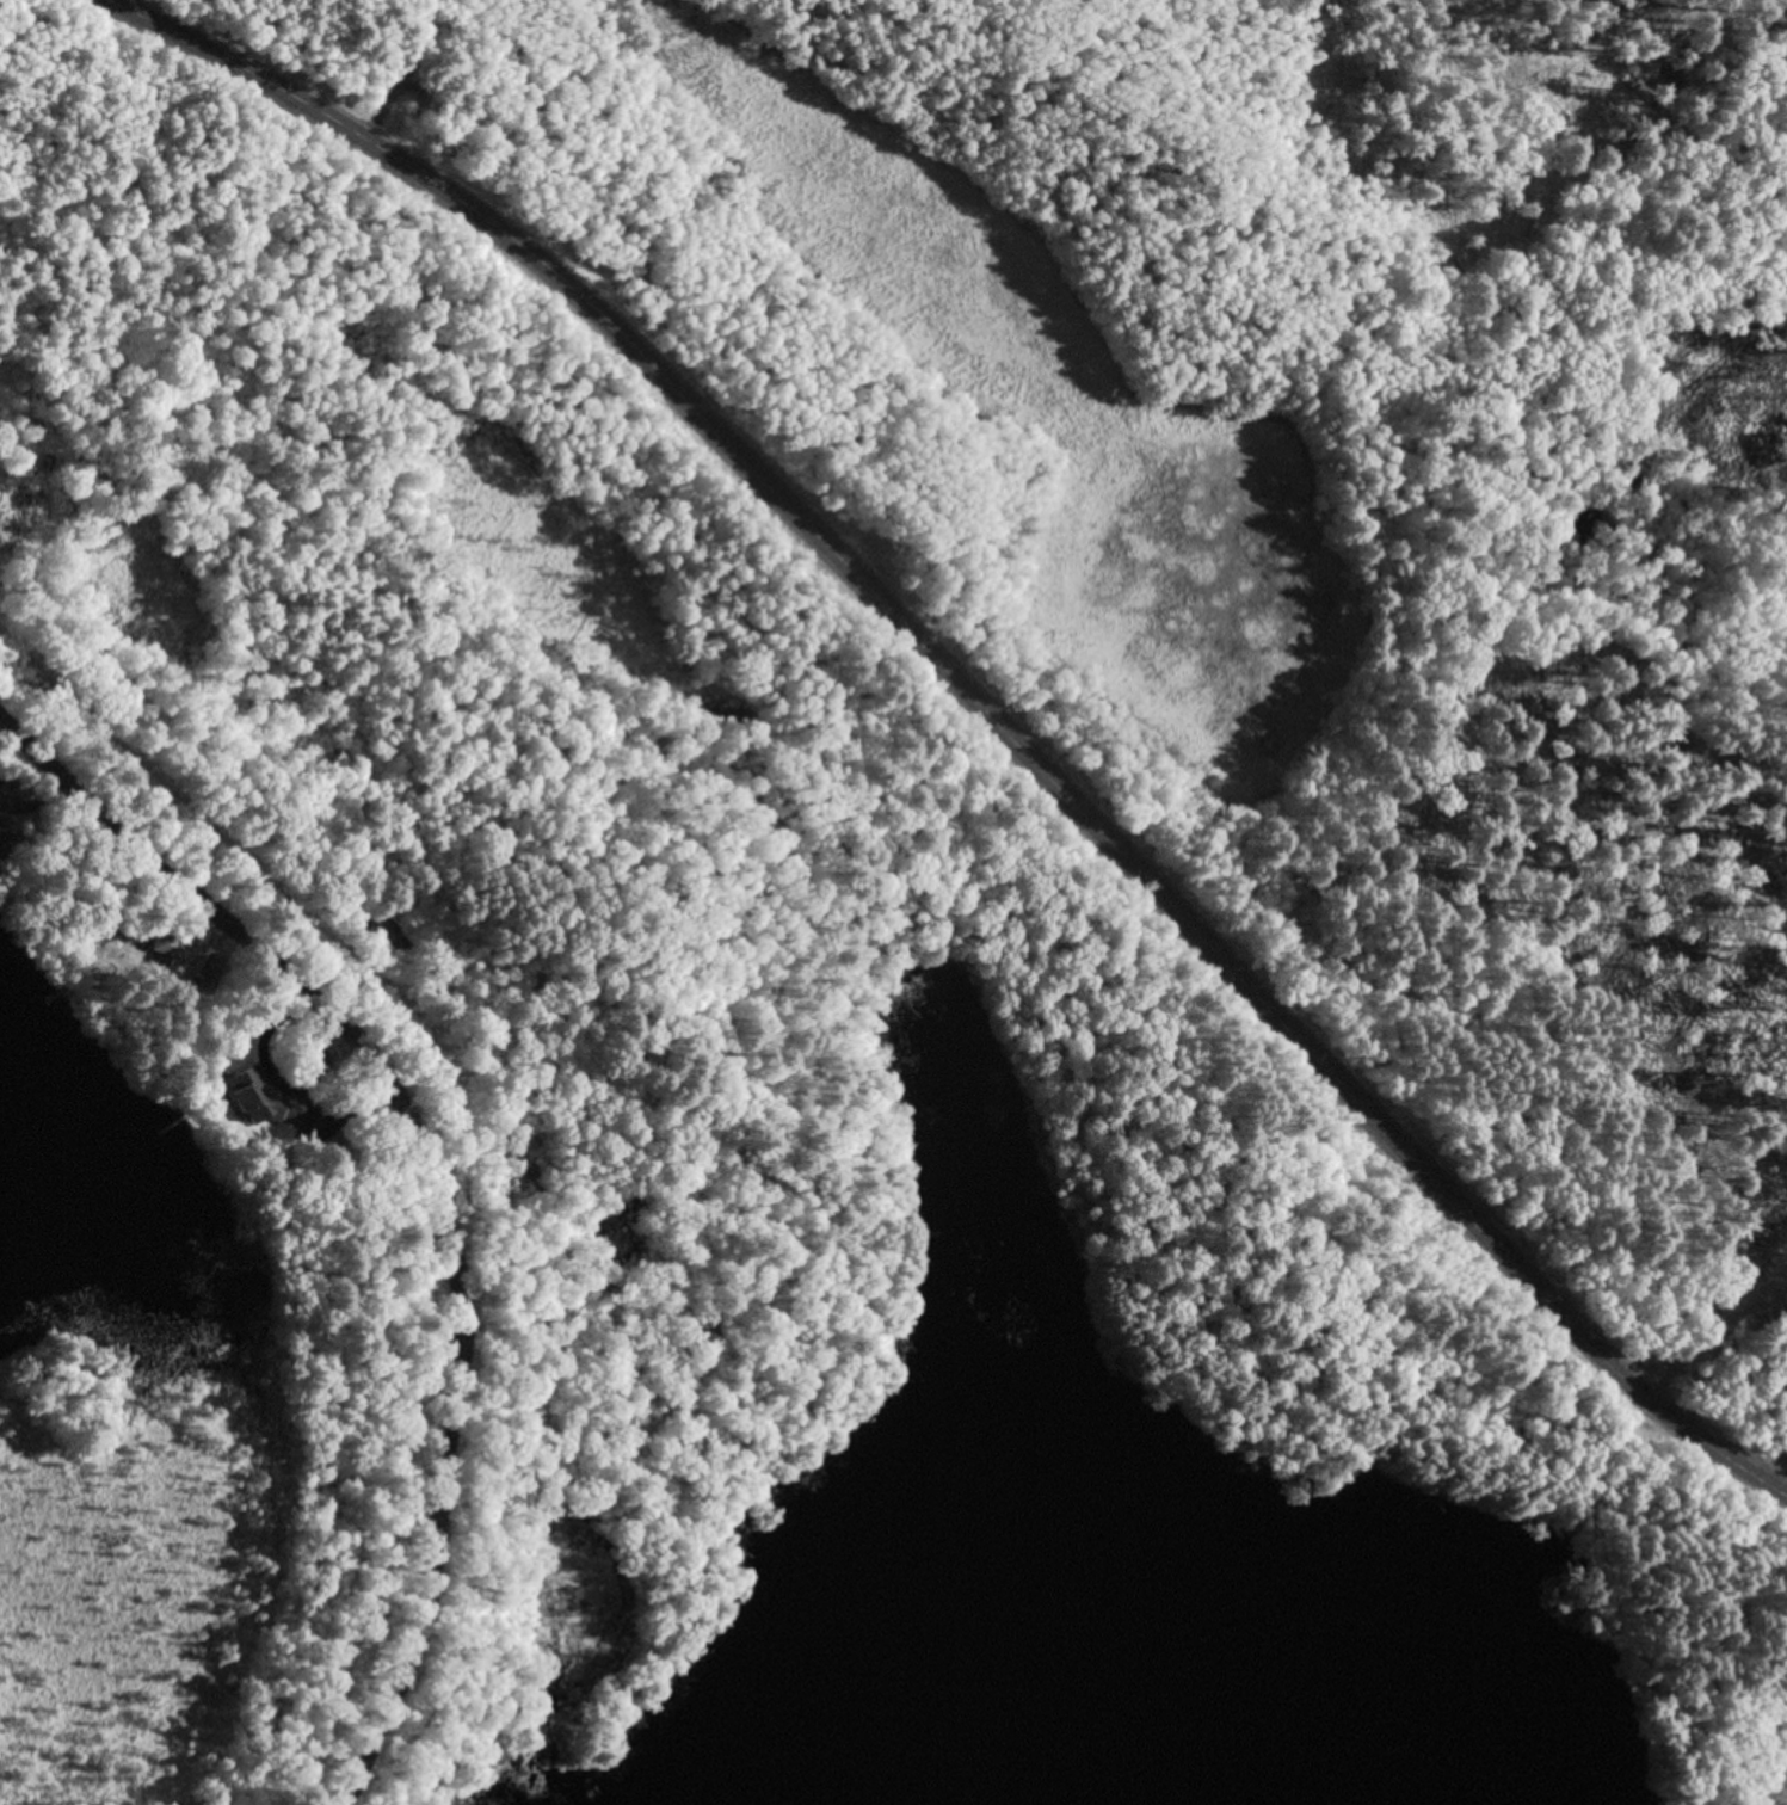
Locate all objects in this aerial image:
road: (174, 32)
road: (1029, 760)
building: (1, 836)
building: (115, 928)
building: (171, 940)
building: (207, 971)
building: (314, 1060)
building: (264, 1096)
building: (340, 1153)
road: (455, 1163)

